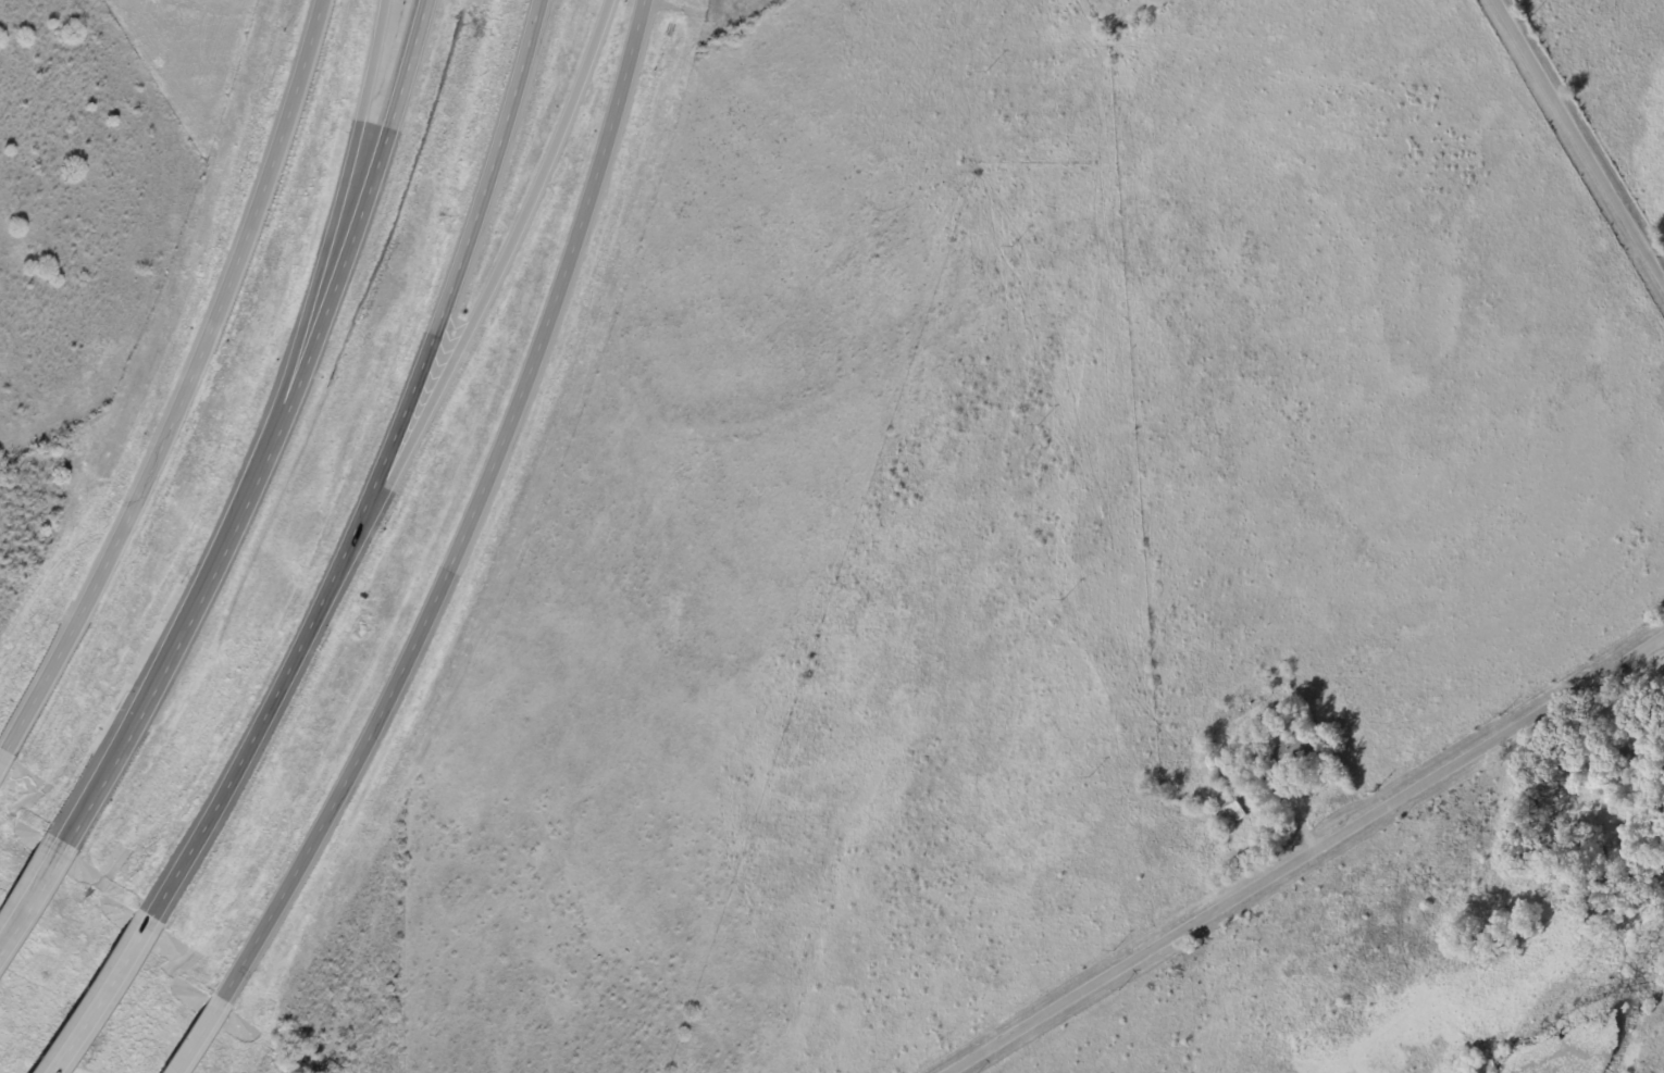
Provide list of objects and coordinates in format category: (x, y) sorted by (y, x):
road: (1578, 144)
road: (332, 220)
road: (474, 315)
road: (183, 389)
road: (270, 436)
road: (376, 476)
road: (469, 520)
building: (1293, 750)
building: (1231, 810)
road: (1307, 856)
road: (29, 896)
road: (97, 998)
road: (197, 1040)

